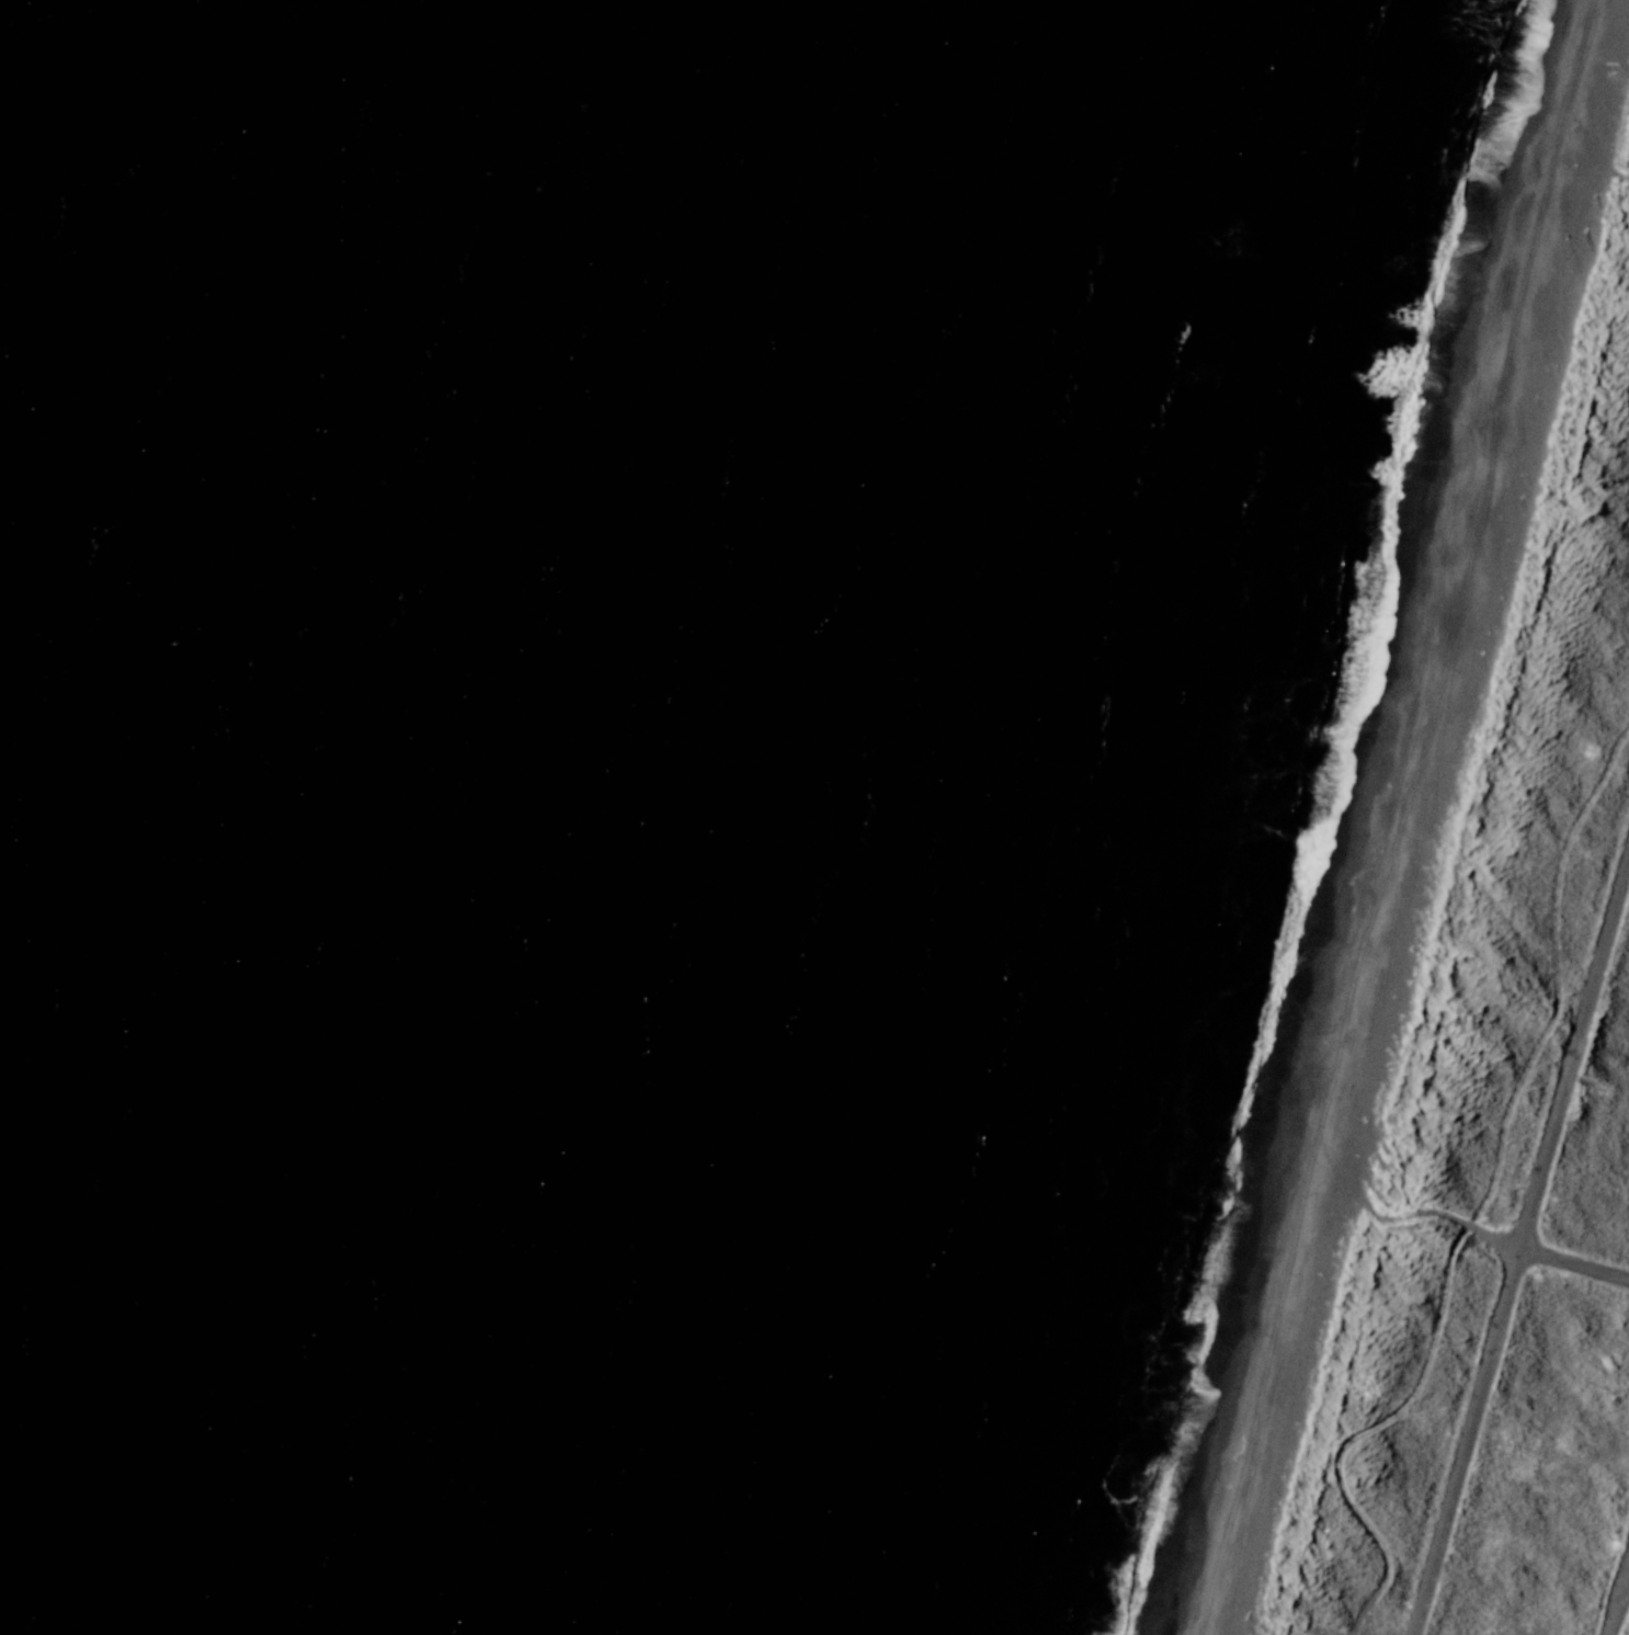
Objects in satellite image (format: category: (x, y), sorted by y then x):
road: (1628, 182)
road: (1480, 1200)
road: (1496, 1241)
road: (1522, 1249)
road: (1619, 1602)

